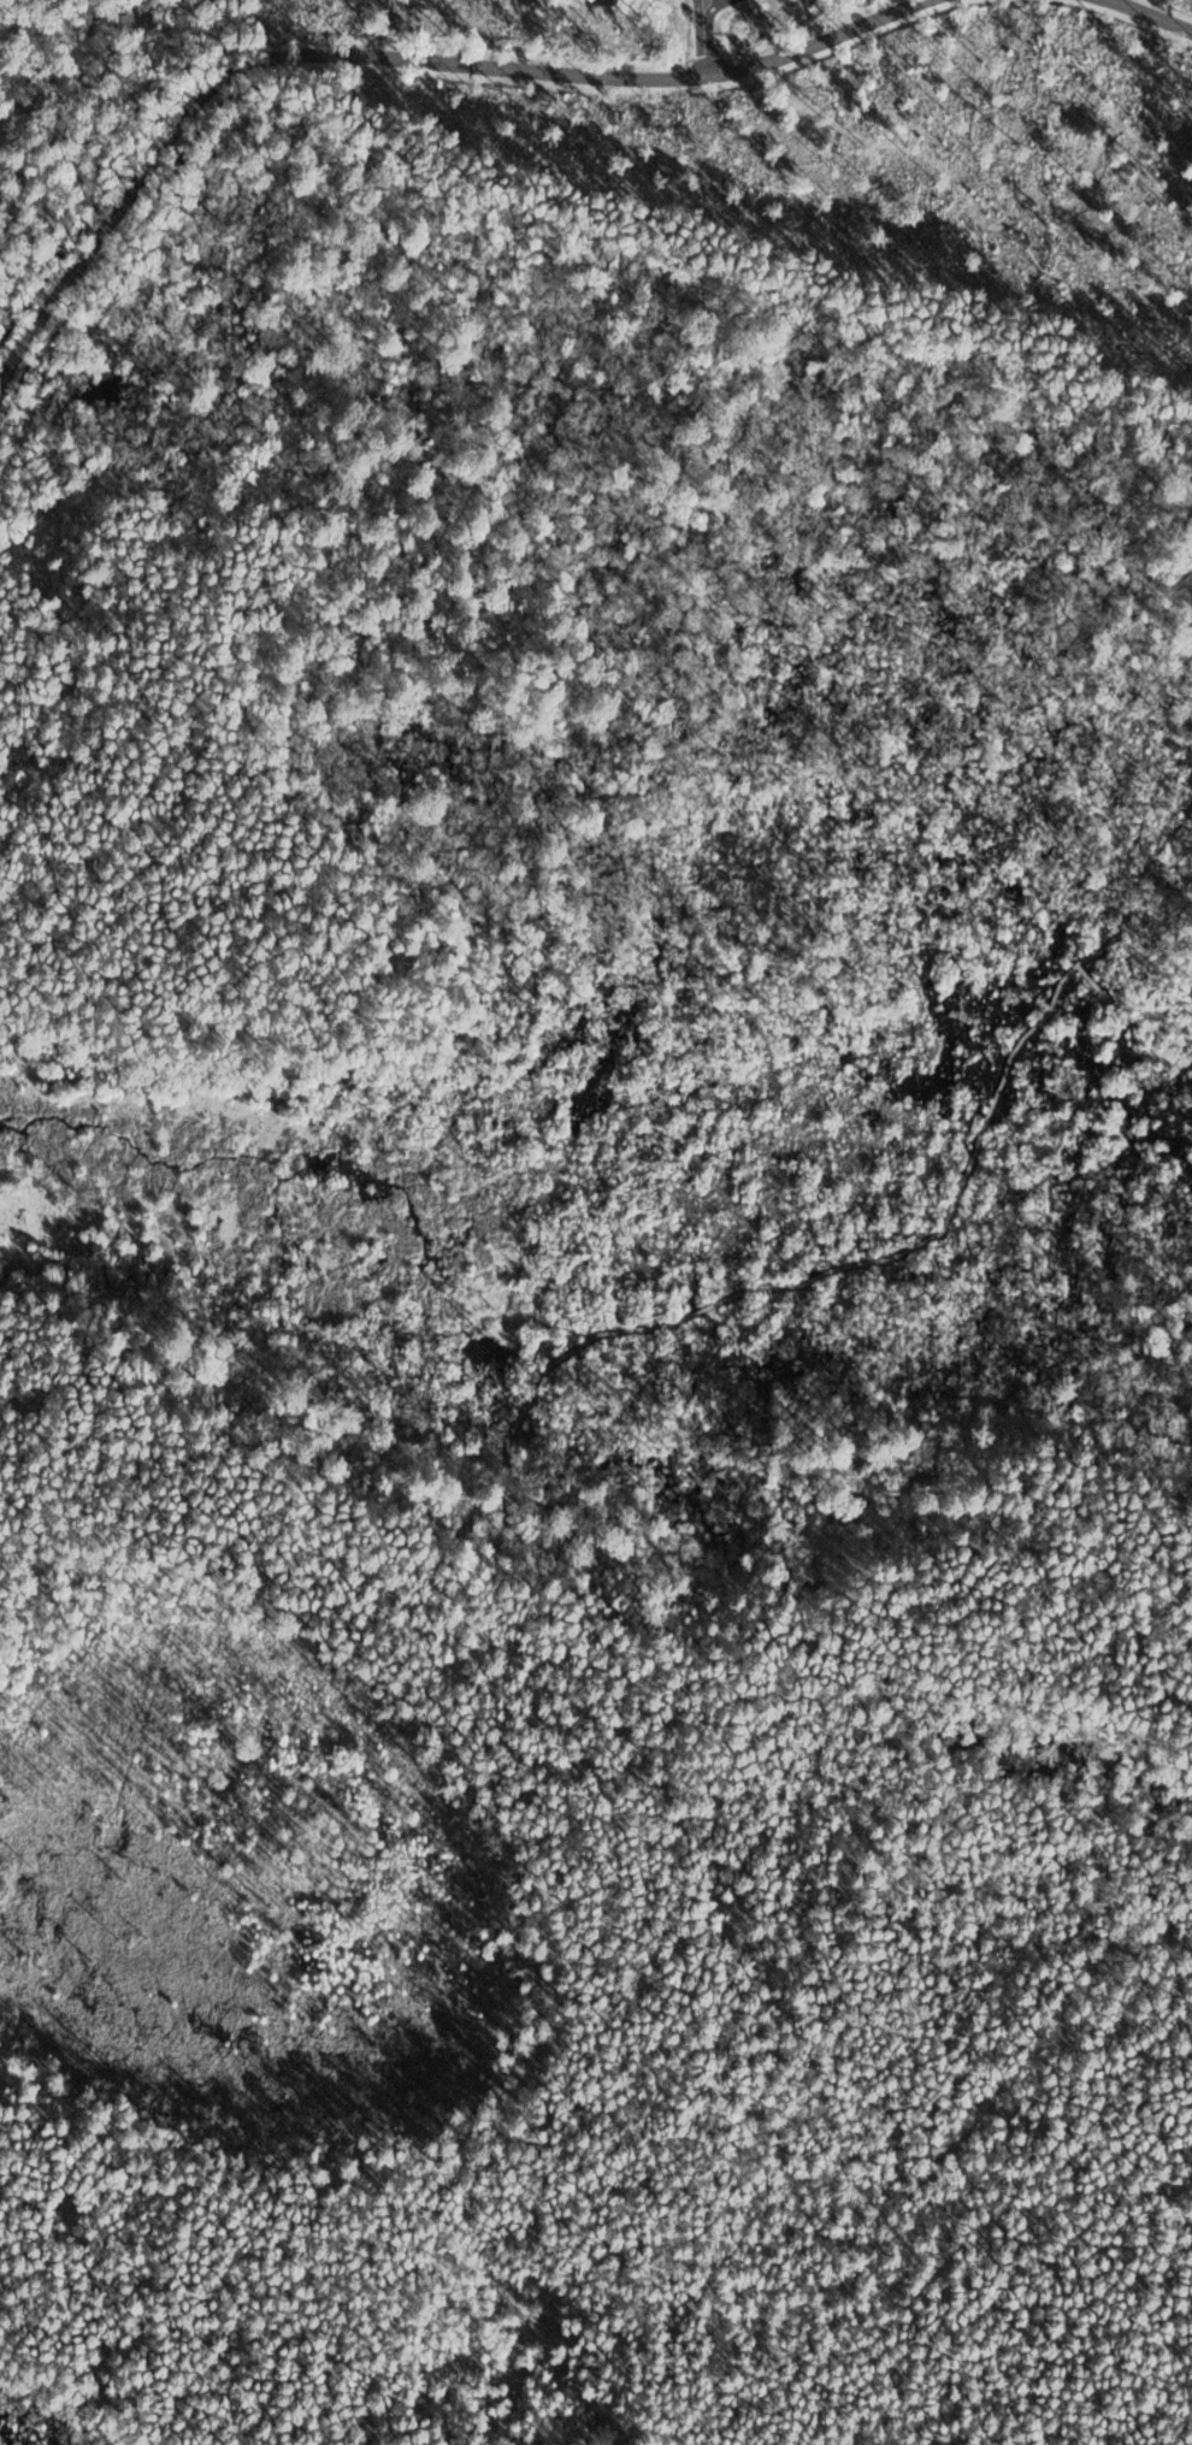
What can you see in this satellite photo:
road: (710, 7)
road: (1156, 13)
road: (706, 41)
road: (380, 49)
road: (1093, 981)
road: (867, 1262)
road: (256, 1532)

